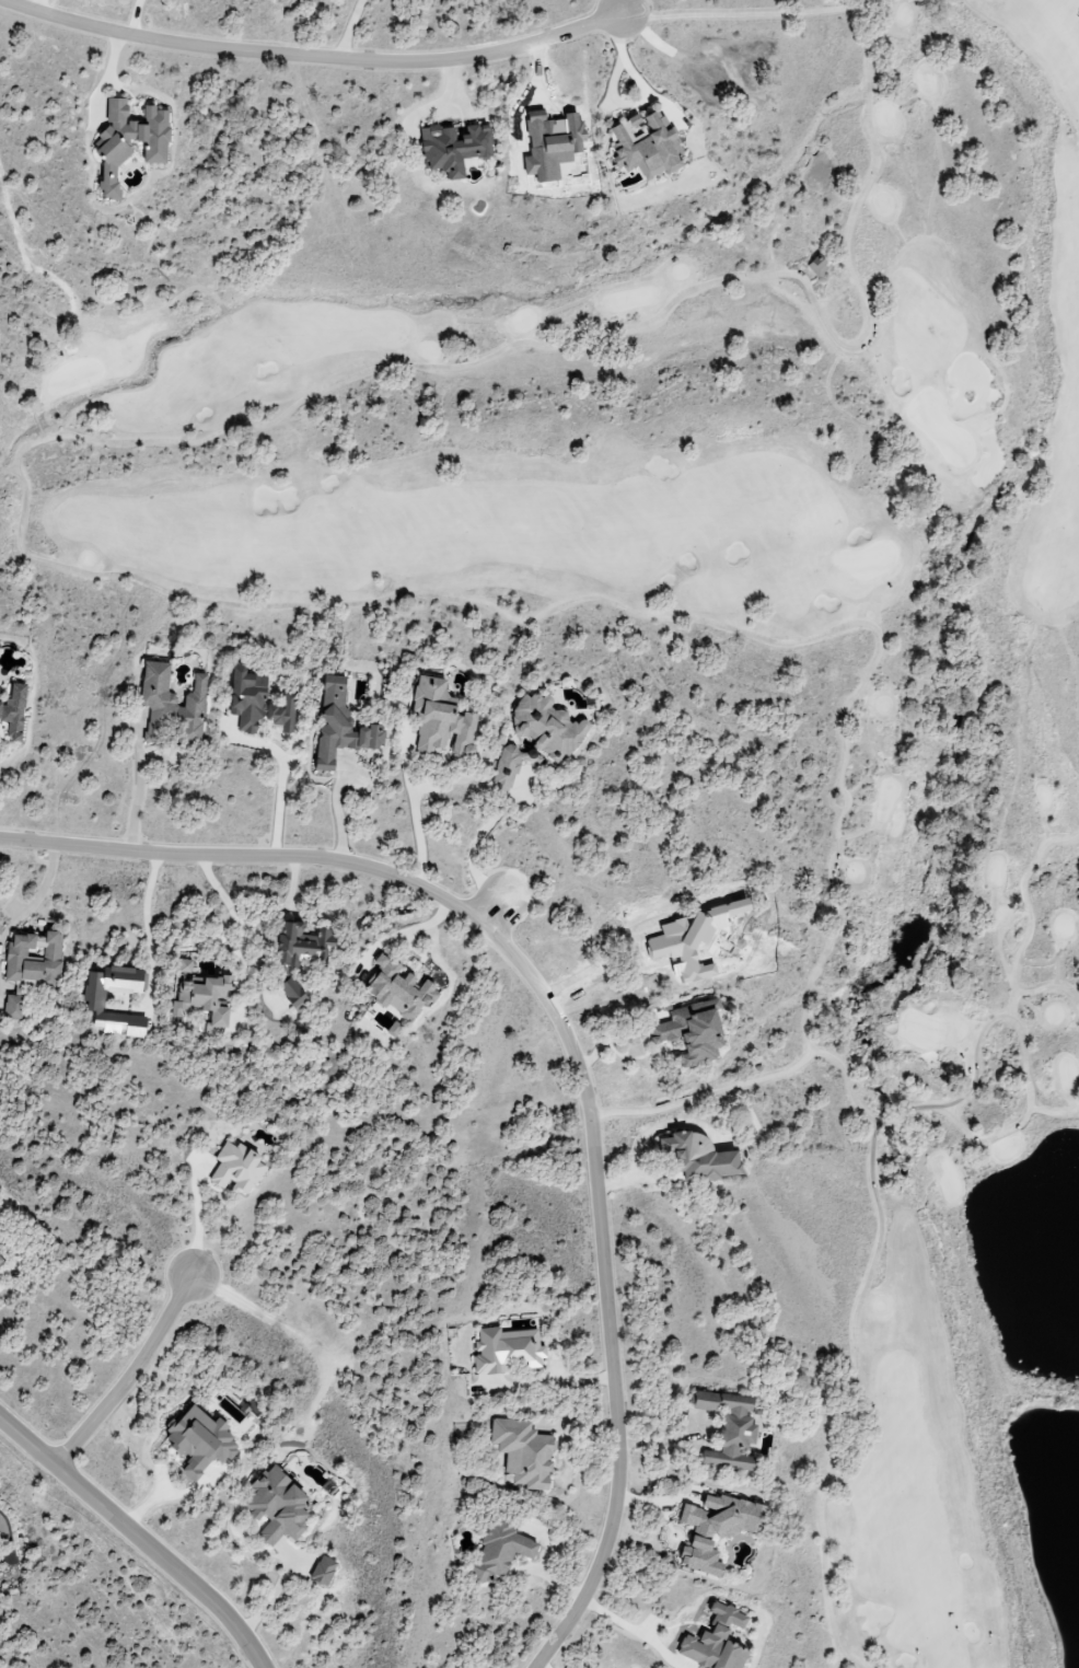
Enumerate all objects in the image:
road: (617, 7)
road: (44, 8)
road: (135, 20)
road: (350, 30)
road: (311, 57)
road: (608, 96)
road: (437, 102)
building: (555, 143)
building: (648, 144)
building: (459, 148)
building: (115, 151)
building: (821, 267)
building: (260, 703)
building: (174, 704)
building: (16, 711)
building: (443, 719)
building: (344, 726)
building: (548, 726)
building: (512, 765)
road: (278, 792)
road: (137, 803)
road: (477, 844)
road: (43, 891)
road: (228, 901)
road: (490, 915)
road: (143, 930)
building: (306, 945)
building: (35, 958)
building: (186, 965)
building: (401, 986)
building: (297, 995)
building: (207, 1000)
building: (93, 1003)
building: (14, 1008)
building: (696, 1032)
road: (606, 1033)
road: (568, 1044)
building: (707, 1158)
building: (240, 1168)
road: (196, 1218)
building: (2, 1261)
building: (509, 1351)
road: (131, 1376)
building: (731, 1430)
building: (205, 1441)
building: (524, 1452)
building: (280, 1507)
building: (721, 1530)
road: (137, 1539)
building: (504, 1552)
building: (0, 1557)
building: (326, 1572)
road: (639, 1630)
building: (720, 1642)
road: (837, 1663)

